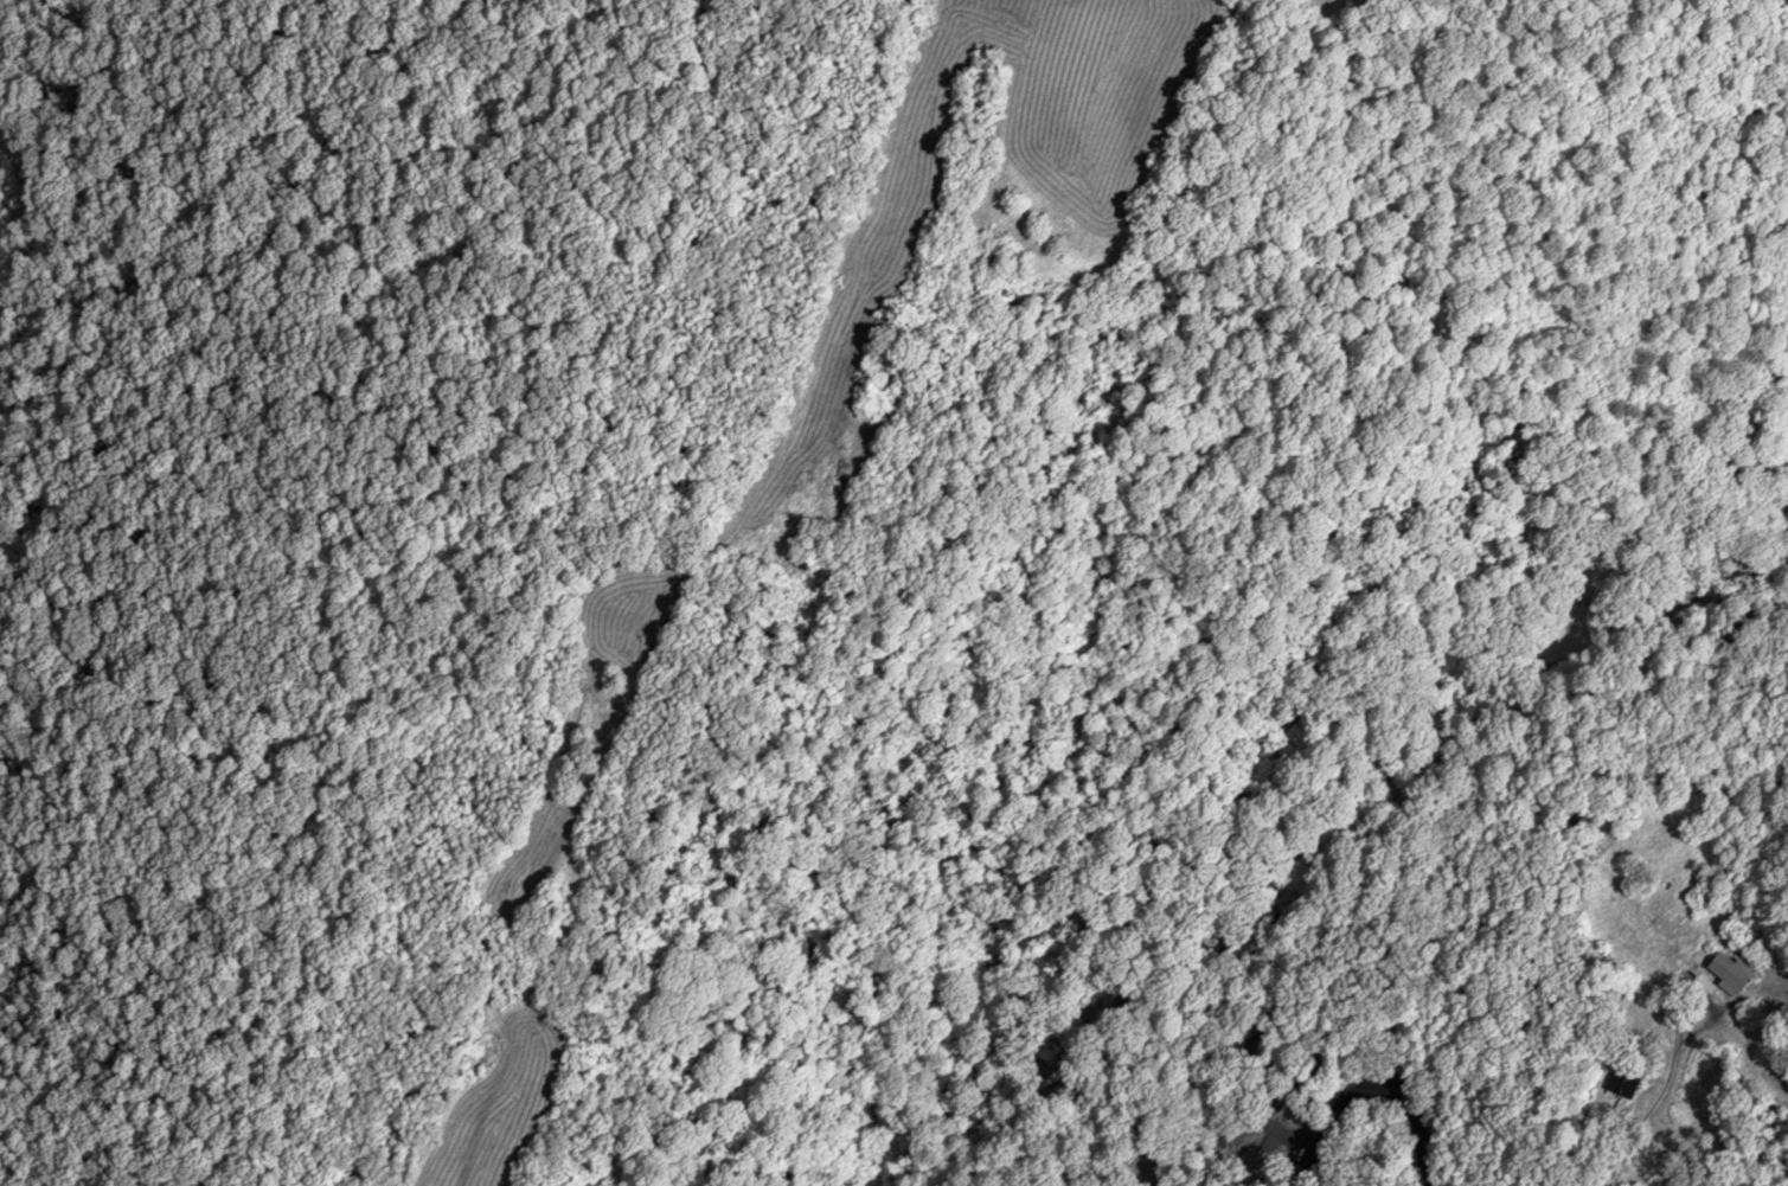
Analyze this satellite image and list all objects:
building: (1728, 970)
road: (1372, 1082)
road: (1635, 1131)

